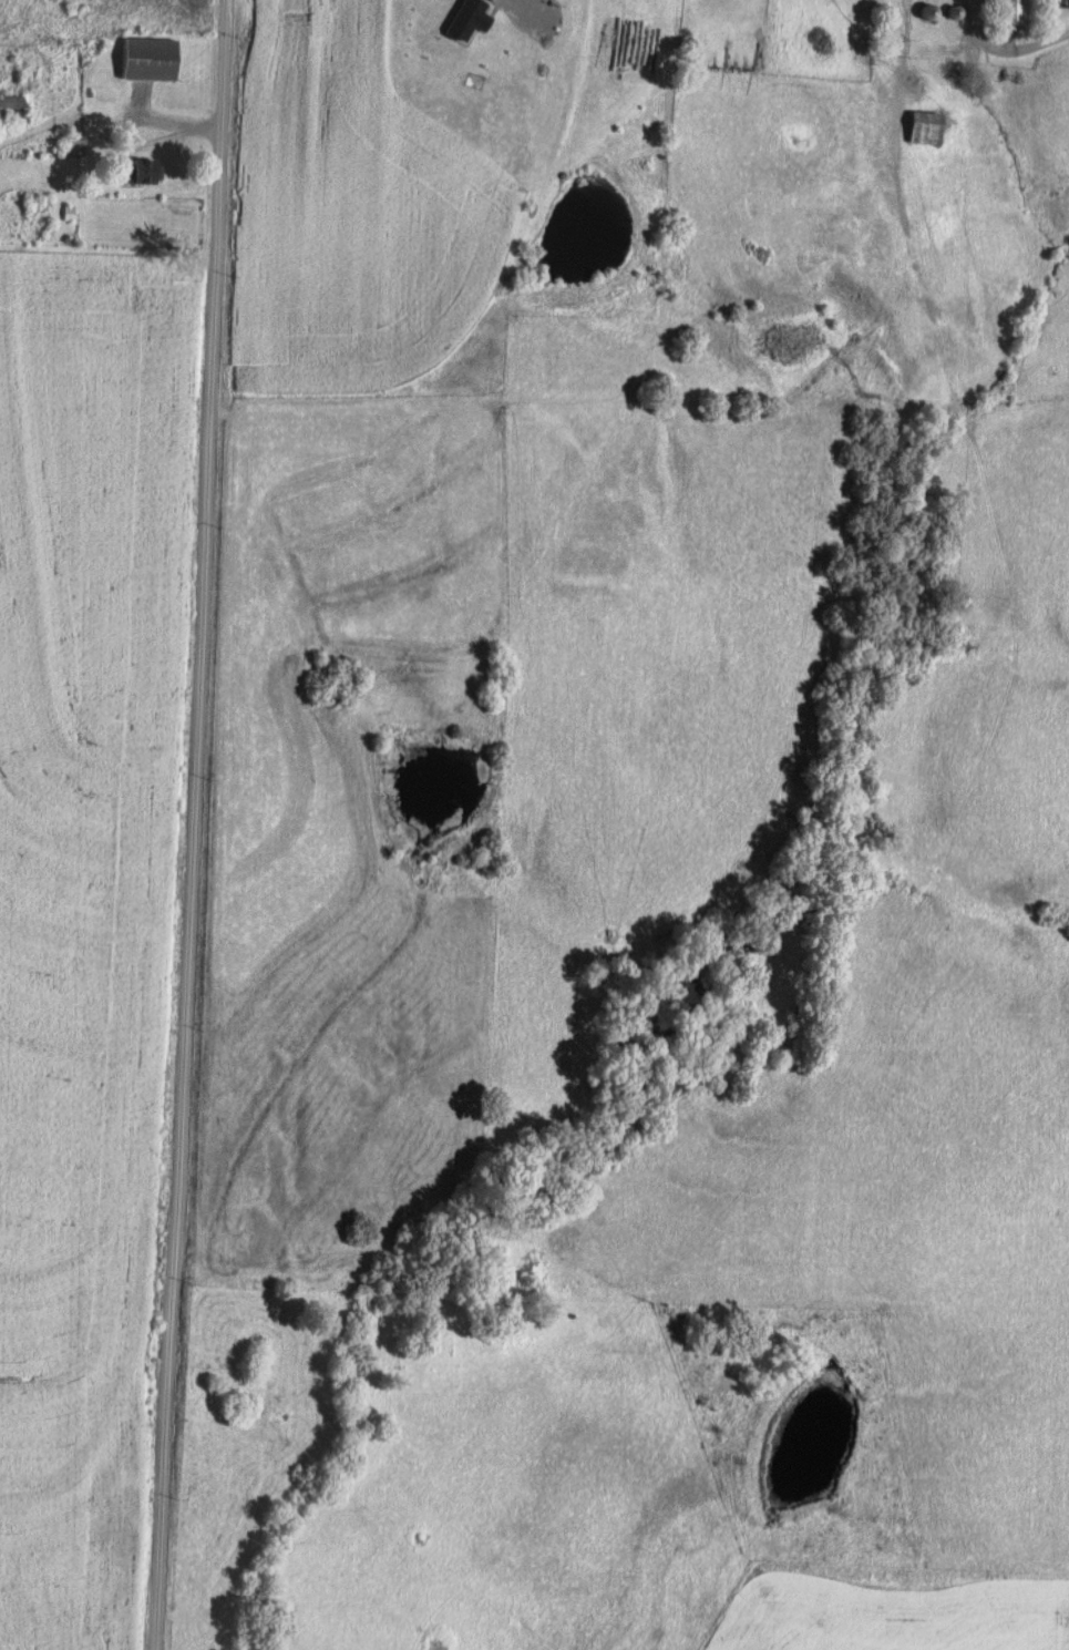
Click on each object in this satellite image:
building: (1008, 12)
road: (1010, 41)
building: (145, 59)
building: (9, 112)
building: (921, 129)
building: (73, 145)
building: (140, 172)
road: (109, 246)
road: (196, 824)

